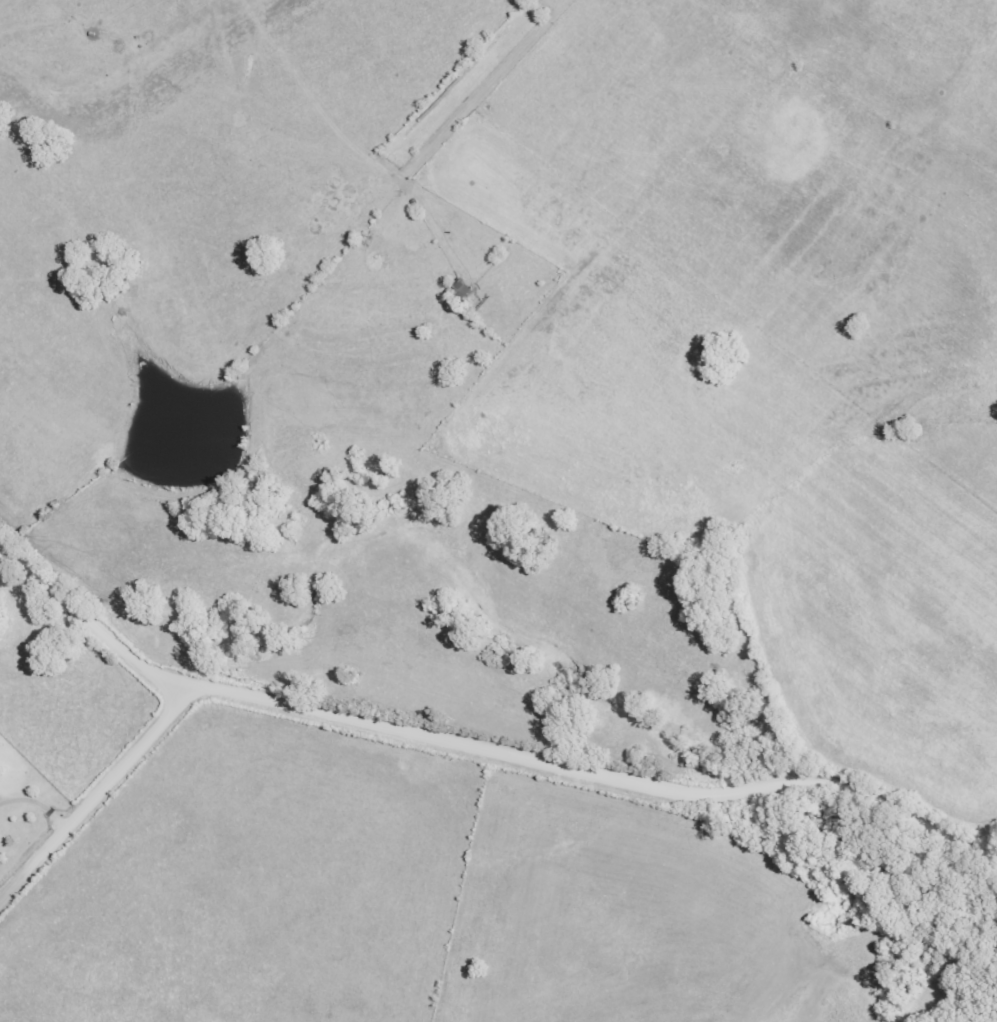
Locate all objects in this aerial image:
road: (88, 621)
road: (598, 776)
road: (97, 794)
road: (35, 805)

